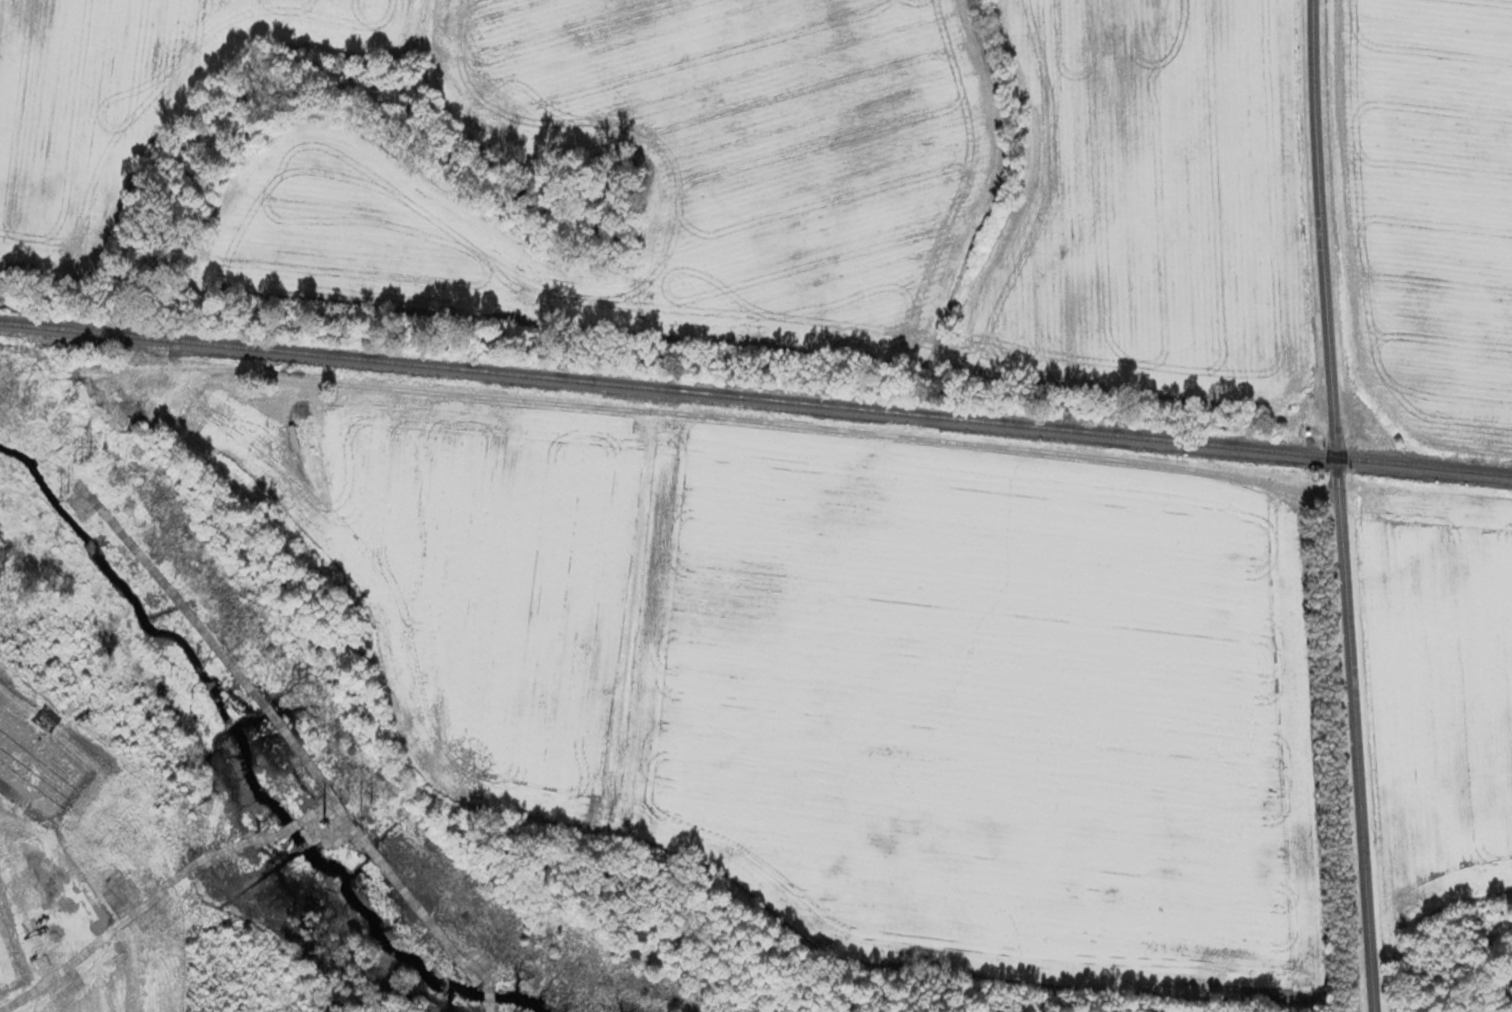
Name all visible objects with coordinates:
railway: (756, 396)
power tower: (96, 454)
road: (1340, 505)
power tower: (381, 810)

